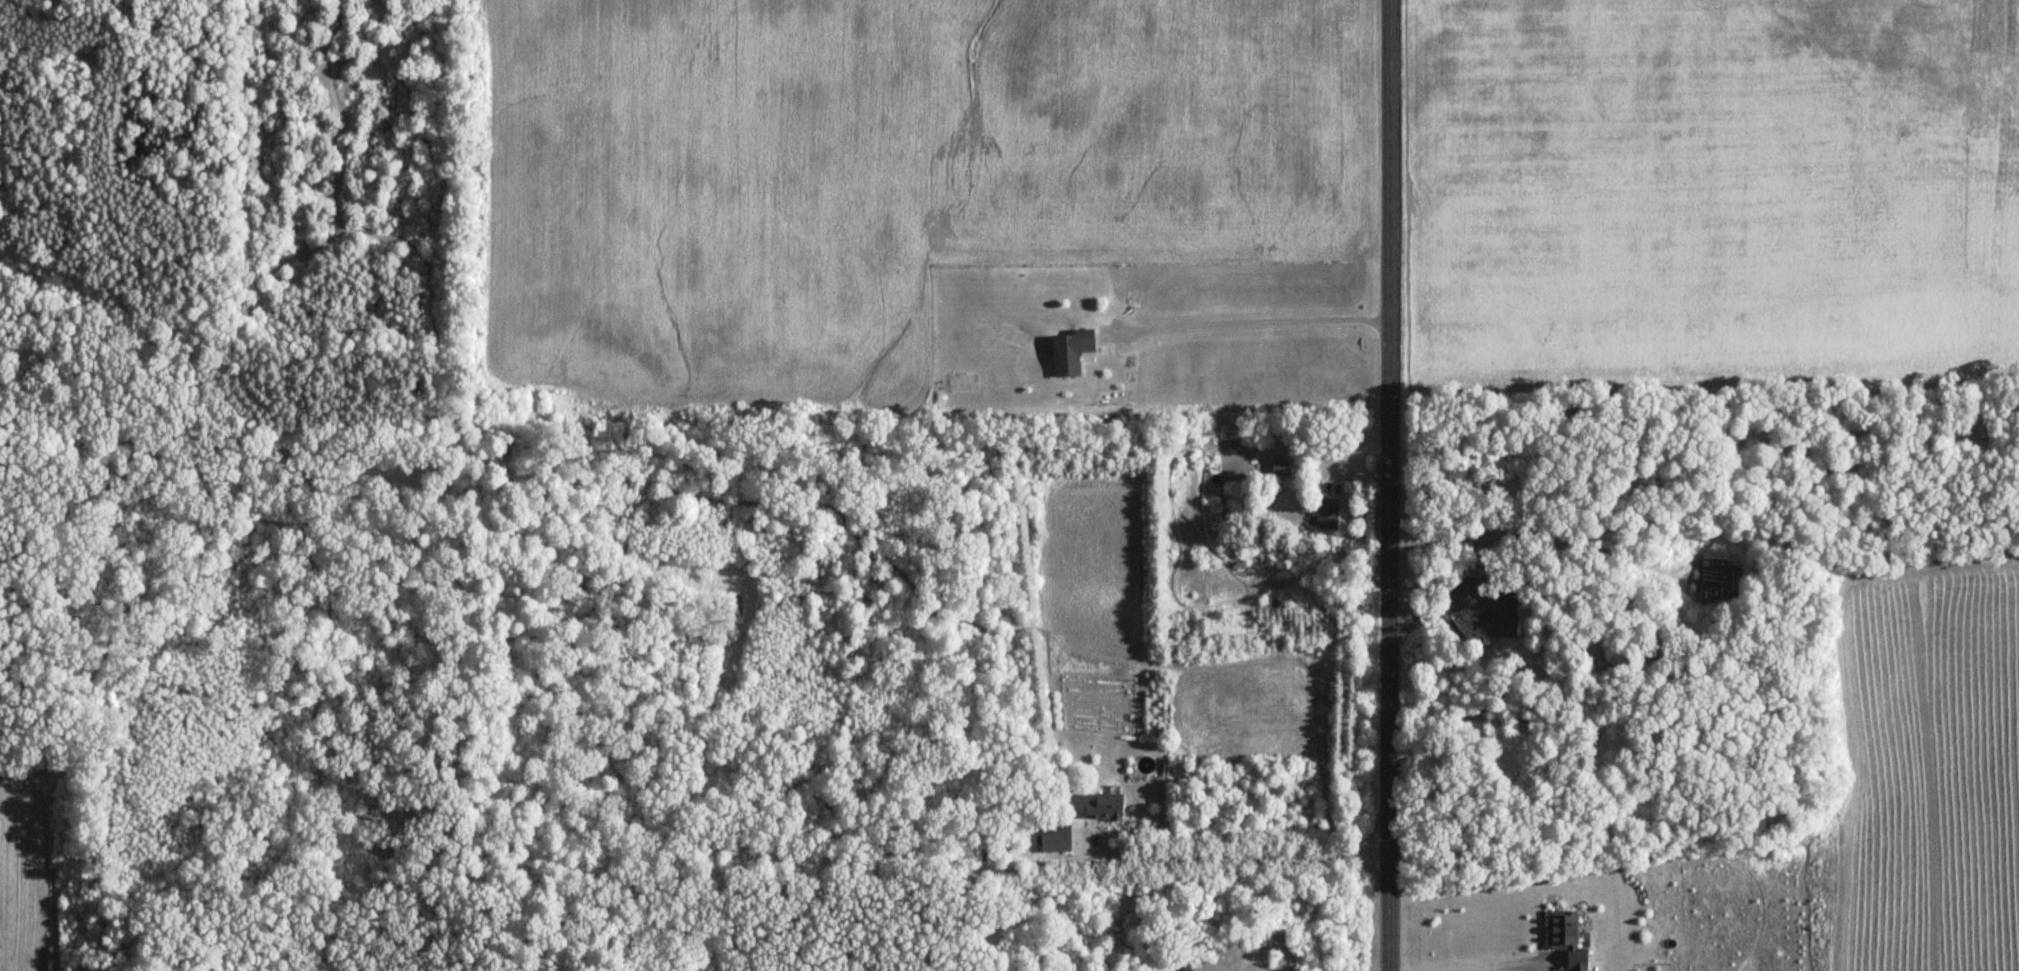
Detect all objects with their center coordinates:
road: (1249, 319)
building: (1068, 352)
building: (1279, 469)
road: (1395, 485)
building: (1325, 513)
building: (1495, 617)
building: (1103, 807)
building: (1053, 837)
road: (1242, 858)
road: (1472, 955)

